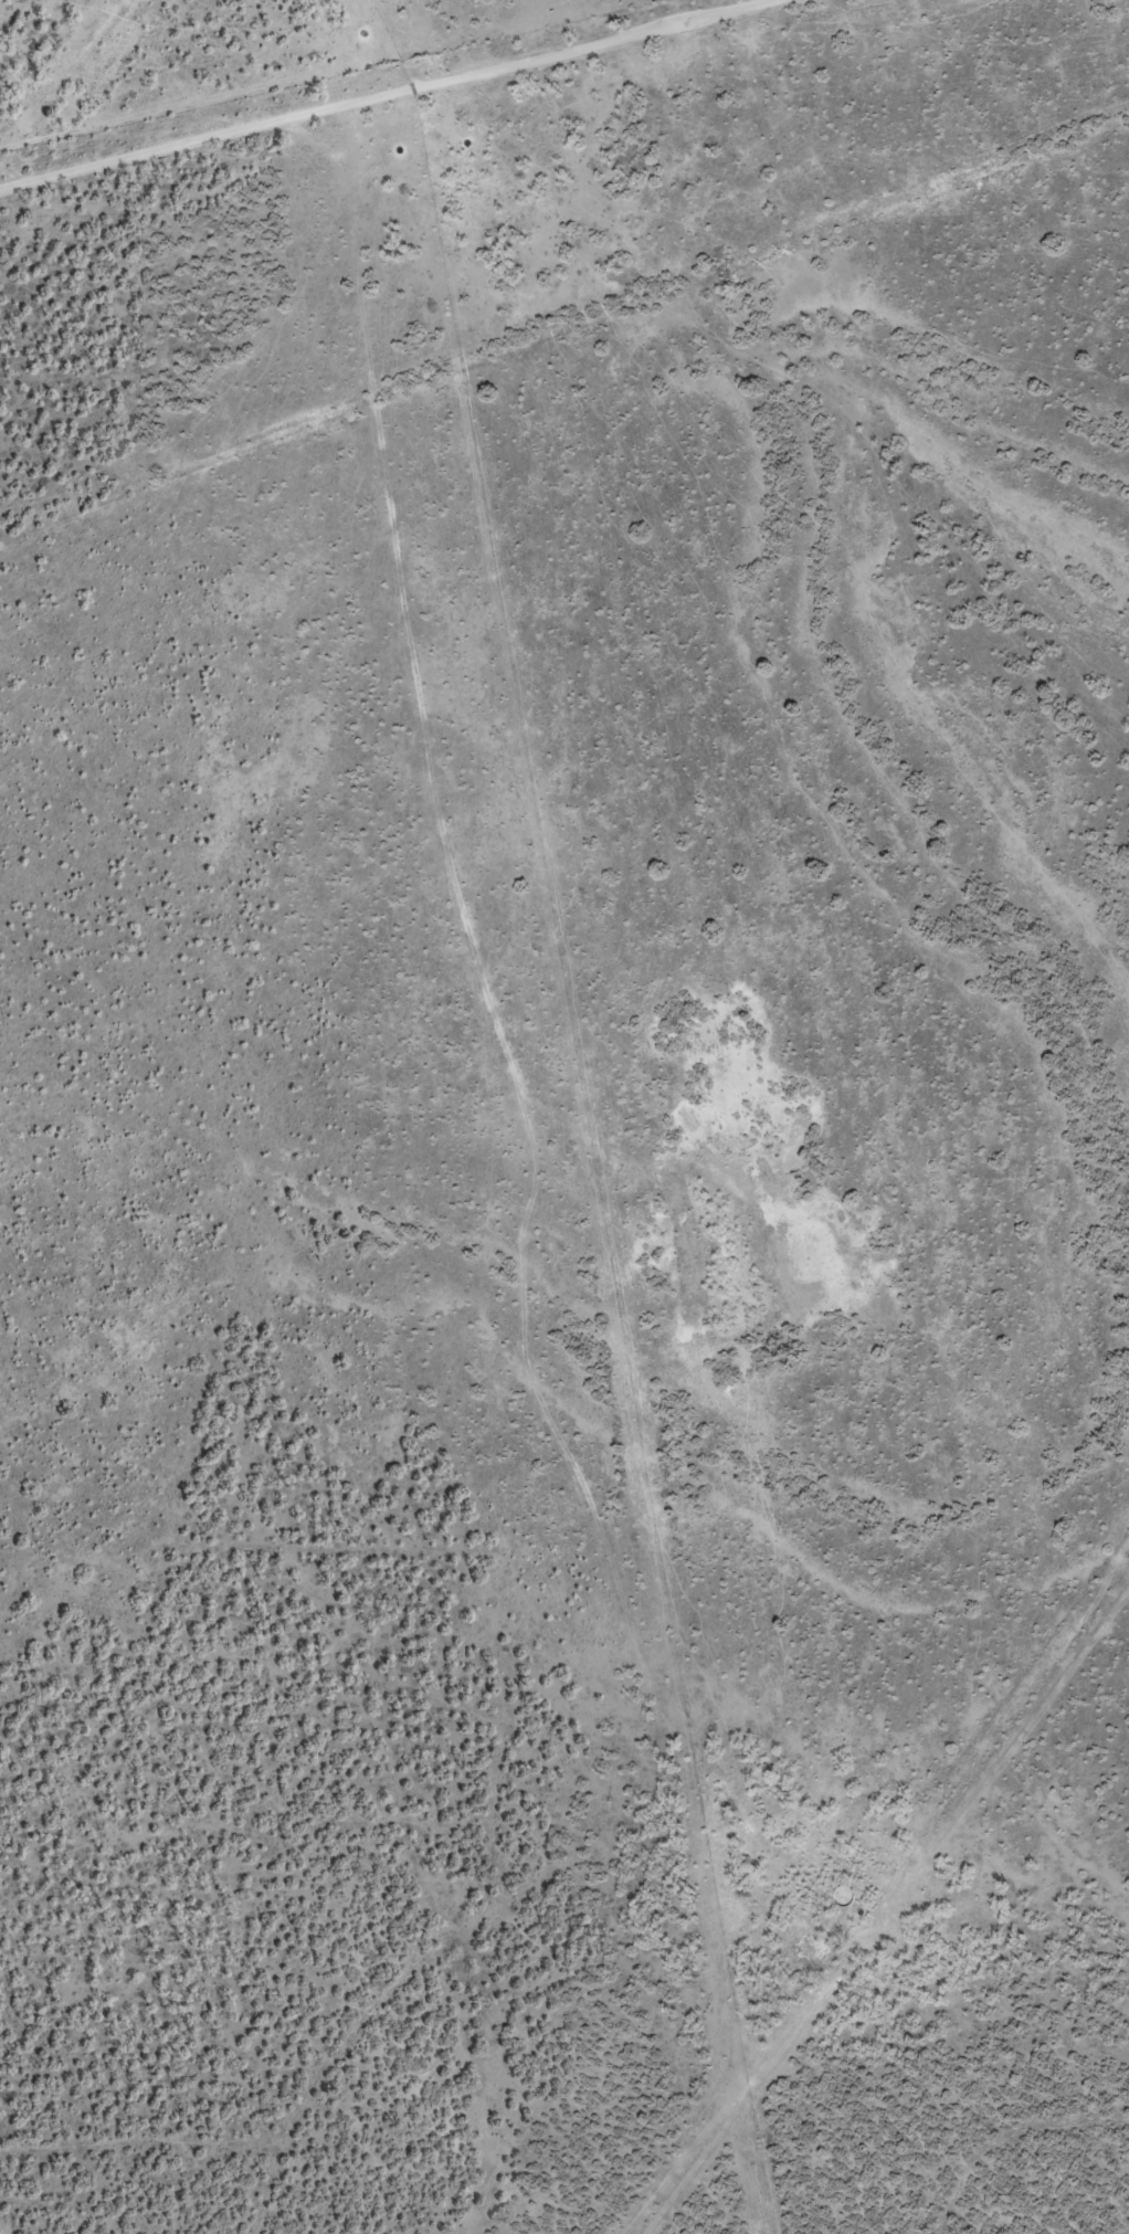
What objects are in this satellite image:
road: (451, 106)
road: (577, 1077)
road: (841, 1980)

